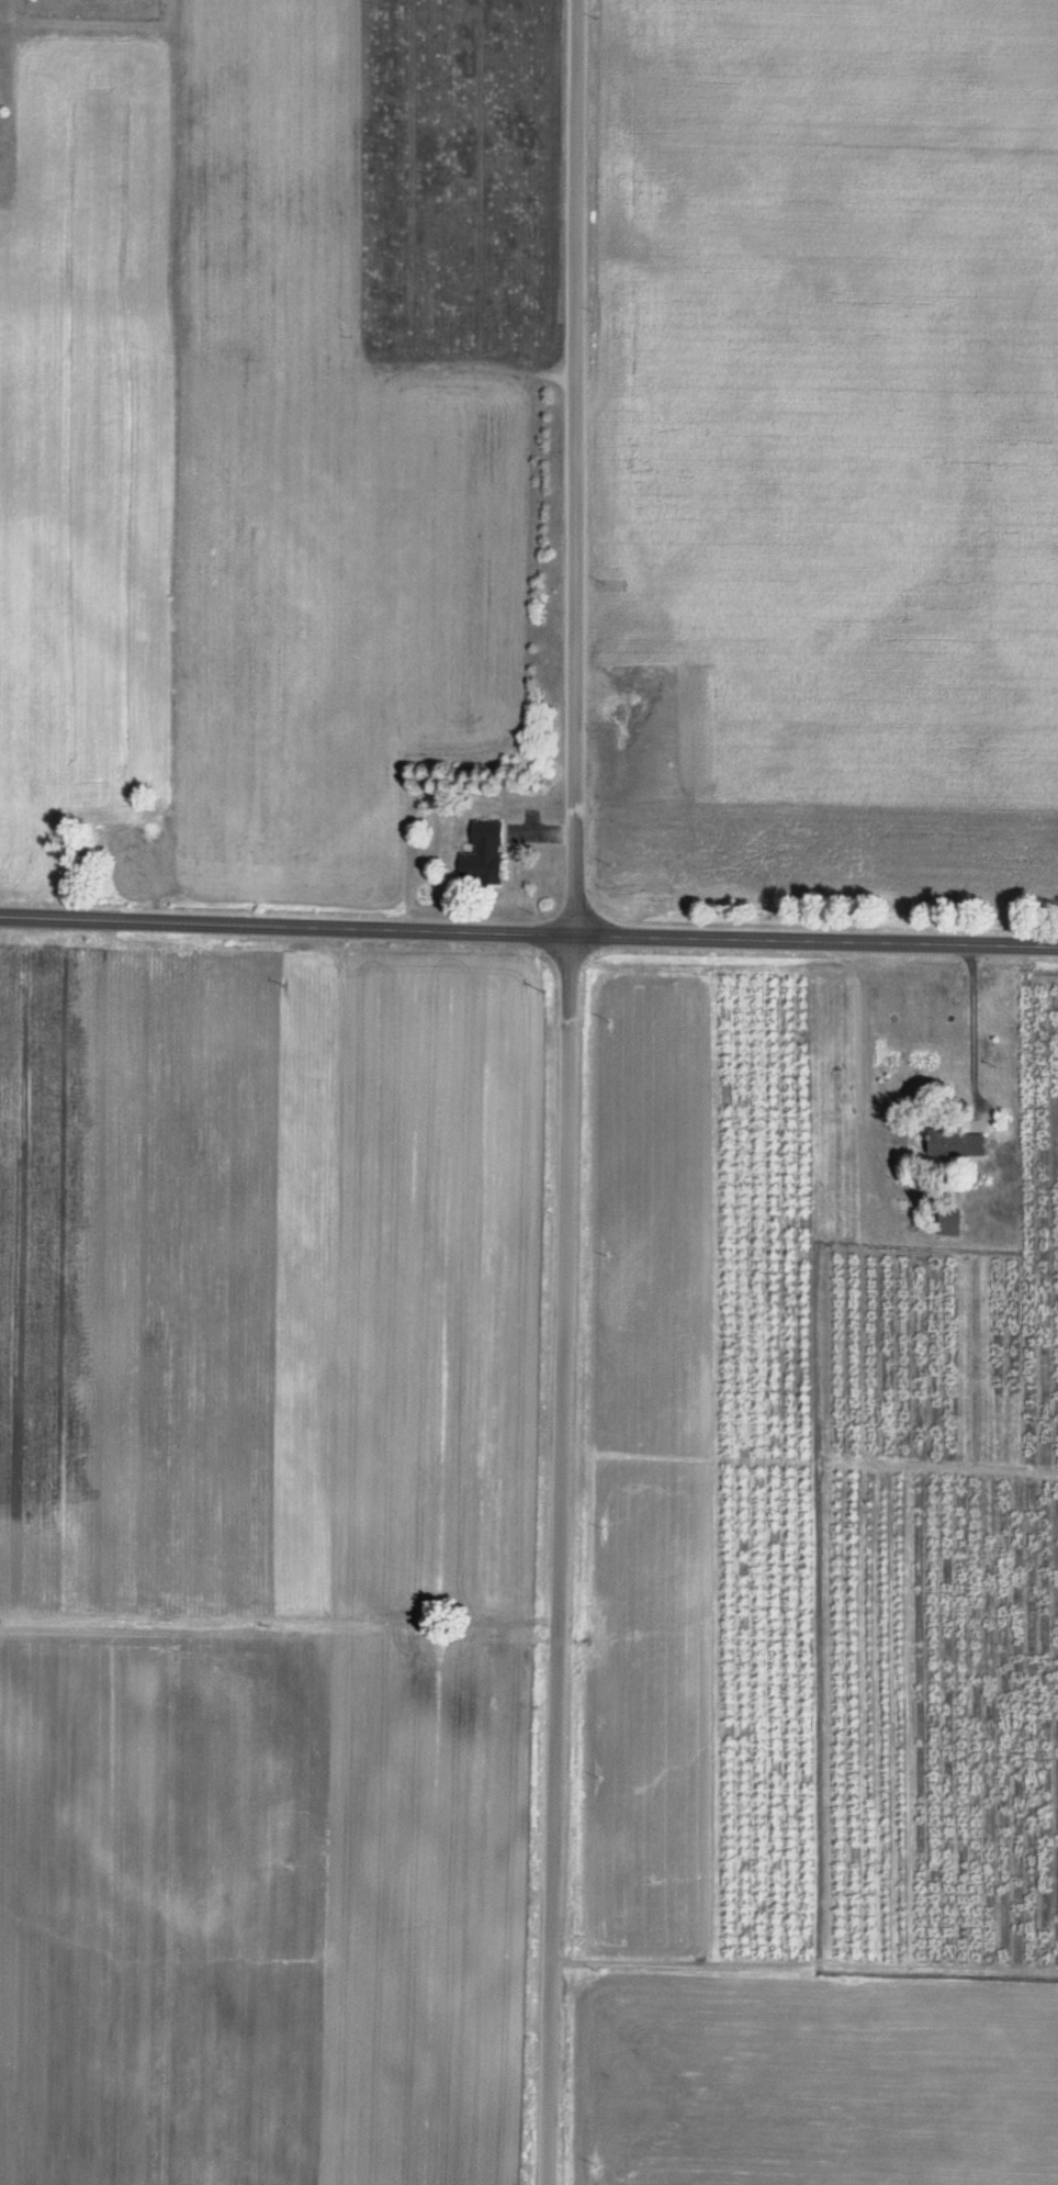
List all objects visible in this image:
road: (573, 468)
building: (483, 854)
road: (528, 934)
building: (954, 1142)
building: (948, 1222)
road: (559, 1560)

